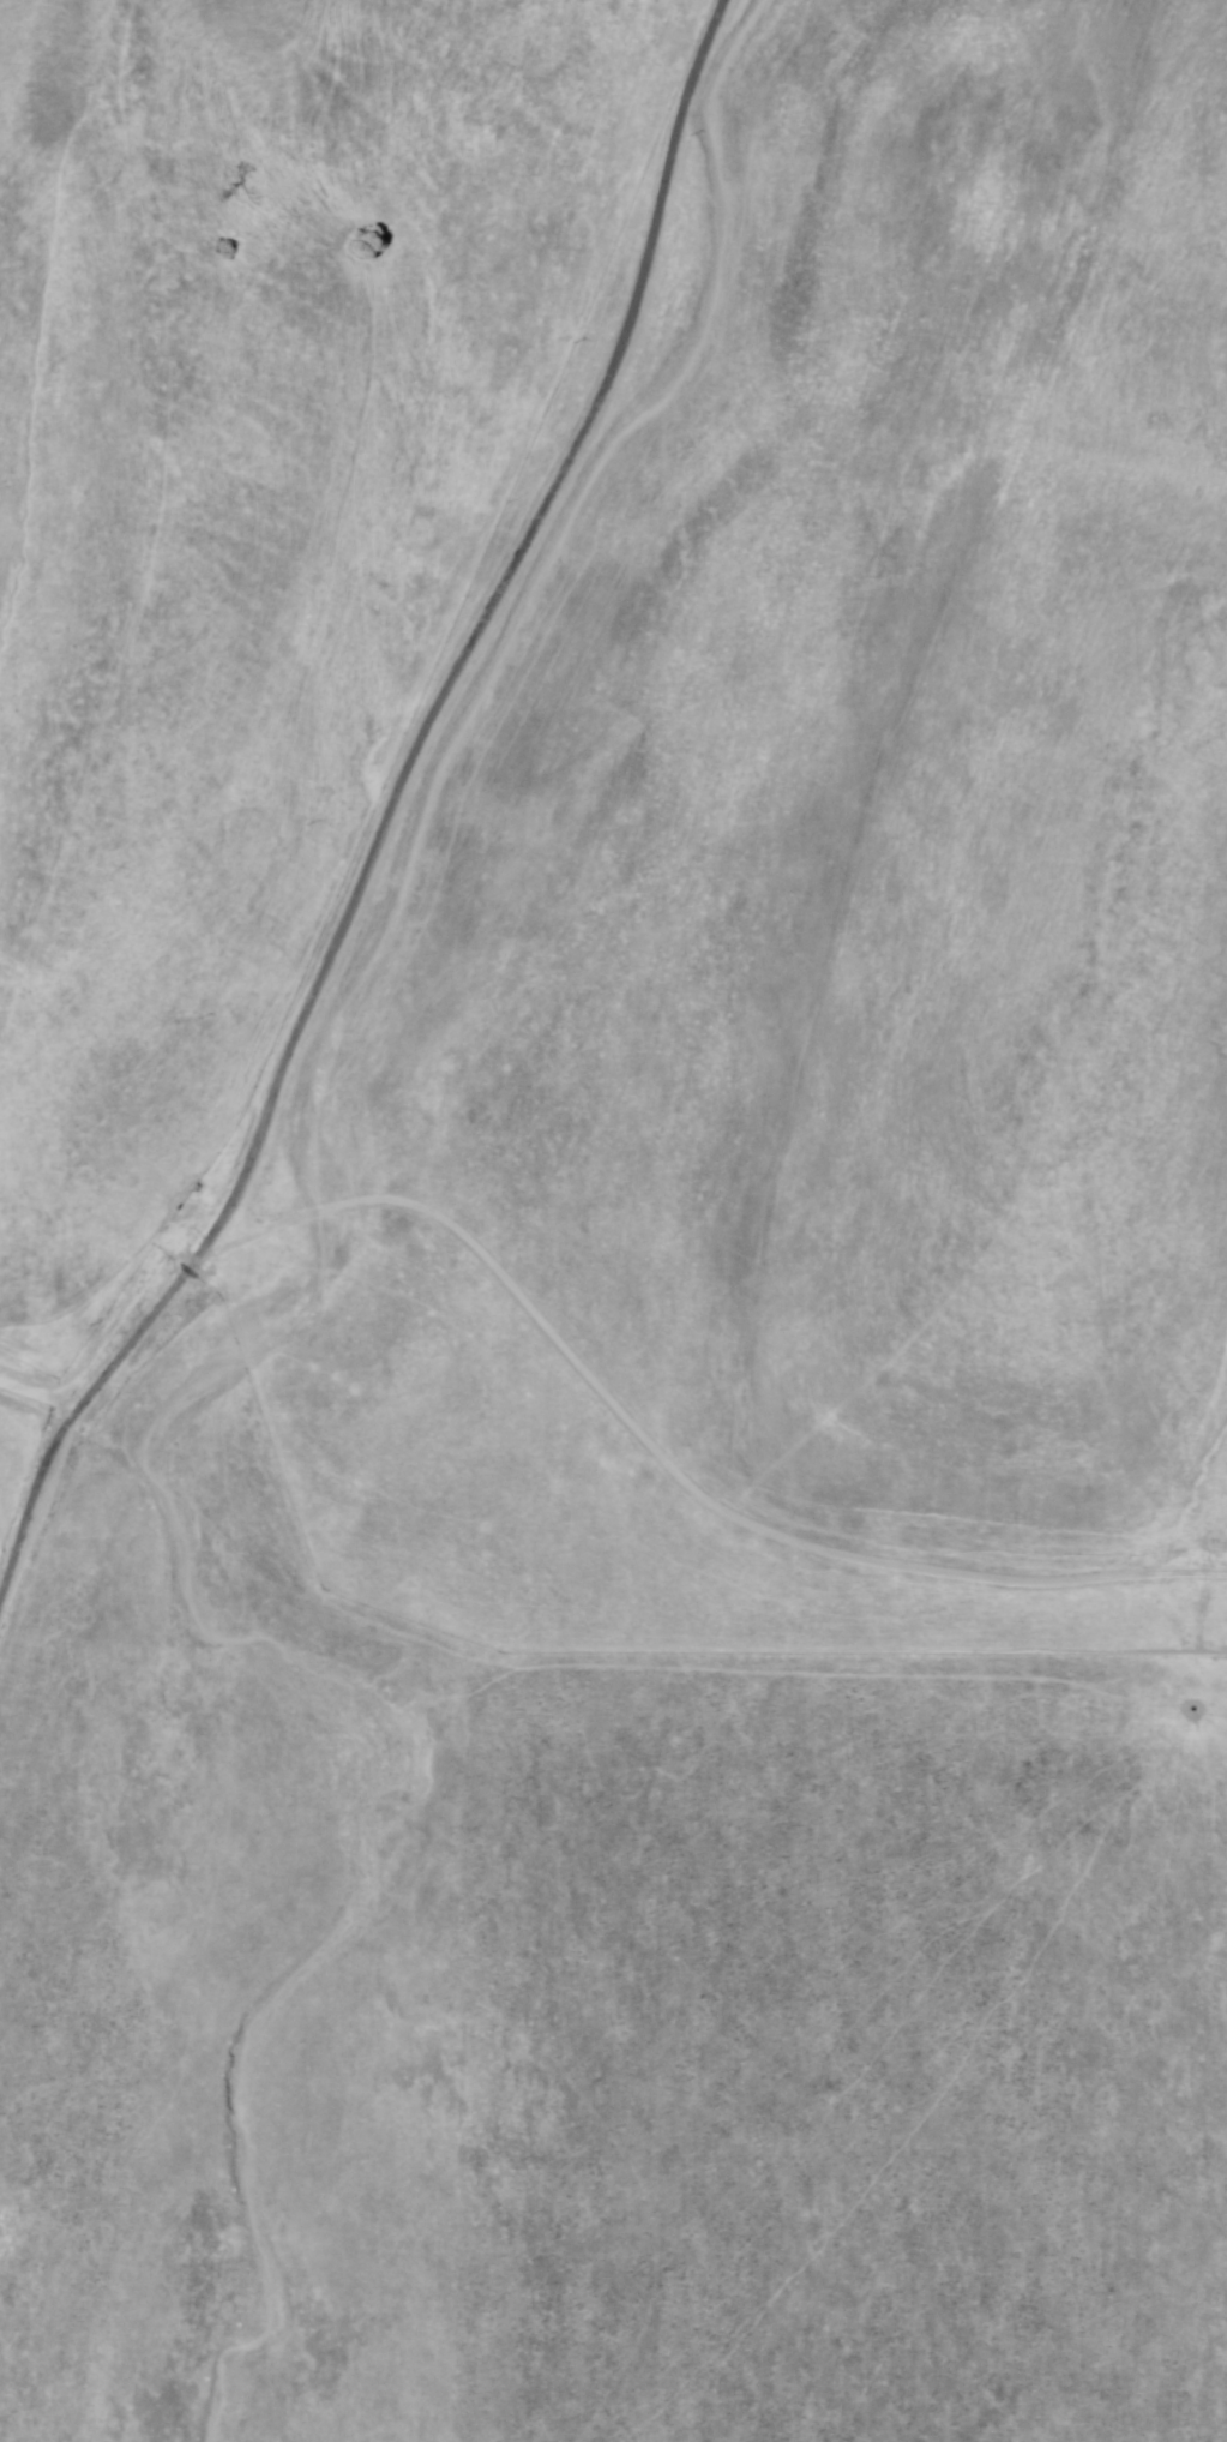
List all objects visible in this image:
road: (392, 814)
road: (26, 1452)

